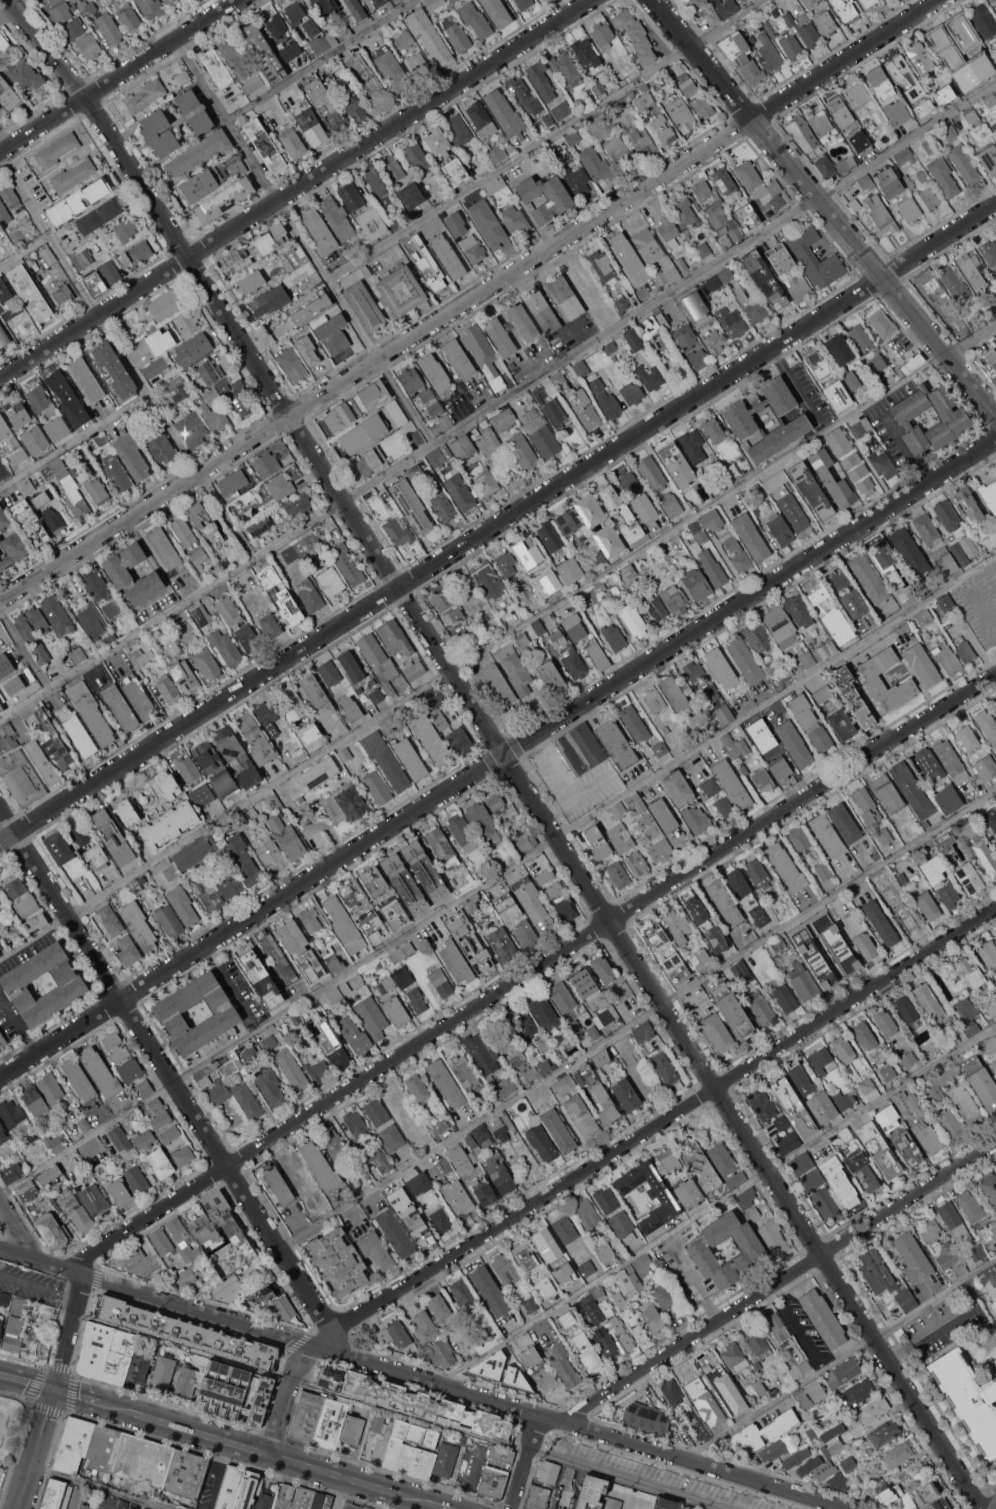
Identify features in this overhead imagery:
building: (124, 0)
building: (449, 0)
building: (819, 0)
building: (171, 1)
building: (452, 1)
building: (713, 1)
building: (54, 2)
building: (347, 2)
building: (808, 2)
building: (994, 2)
building: (524, 3)
building: (869, 3)
building: (374, 4)
building: (432, 4)
building: (697, 4)
building: (390, 5)
building: (88, 7)
building: (151, 7)
building: (323, 7)
building: (728, 8)
road: (14, 9)
building: (847, 10)
building: (295, 12)
building: (497, 12)
building: (60, 13)
building: (362, 15)
building: (128, 17)
building: (713, 18)
building: (789, 18)
building: (476, 20)
building: (984, 21)
building: (826, 23)
building: (277, 25)
building: (109, 27)
building: (73, 28)
building: (386, 30)
building: (771, 30)
building: (963, 31)
building: (809, 34)
building: (339, 35)
building: (428, 35)
building: (603, 35)
building: (636, 35)
building: (315, 37)
building: (458, 38)
building: (750, 39)
building: (403, 41)
building: (3, 43)
building: (89, 45)
building: (941, 45)
building: (791, 46)
building: (619, 50)
building: (290, 51)
building: (263, 52)
building: (770, 53)
building: (966, 53)
building: (995, 53)
building: (587, 54)
building: (919, 57)
building: (236, 58)
road: (319, 60)
building: (419, 65)
building: (565, 66)
building: (749, 67)
building: (216, 68)
building: (393, 71)
building: (984, 71)
building: (22, 74)
road: (116, 74)
building: (364, 74)
building: (183, 77)
building: (905, 78)
building: (541, 80)
building: (881, 83)
building: (252, 84)
building: (962, 84)
building: (598, 87)
building: (689, 87)
building: (588, 90)
building: (637, 91)
building: (346, 93)
building: (995, 93)
building: (857, 95)
building: (7, 96)
building: (146, 96)
building: (944, 96)
building: (523, 97)
building: (990, 99)
building: (643, 102)
building: (578, 103)
building: (324, 104)
building: (702, 106)
building: (560, 110)
building: (919, 110)
building: (679, 112)
building: (841, 113)
building: (505, 114)
building: (899, 115)
building: (969, 115)
building: (548, 119)
building: (481, 120)
building: (819, 122)
building: (174, 123)
building: (601, 125)
building: (632, 126)
building: (617, 127)
building: (310, 129)
building: (458, 130)
building: (662, 130)
building: (950, 132)
building: (995, 132)
building: (803, 134)
building: (572, 137)
road: (546, 140)
building: (437, 141)
building: (859, 142)
building: (292, 143)
building: (263, 144)
building: (930, 145)
building: (550, 147)
building: (616, 149)
building: (57, 150)
building: (198, 153)
building: (497, 154)
building: (416, 156)
building: (904, 157)
building: (989, 159)
building: (597, 164)
building: (845, 164)
building: (964, 164)
building: (826, 166)
building: (237, 167)
building: (393, 167)
building: (454, 171)
building: (72, 175)
building: (922, 176)
building: (943, 176)
building: (724, 180)
building: (376, 181)
building: (576, 181)
building: (199, 182)
building: (866, 182)
building: (888, 182)
building: (908, 182)
building: (493, 184)
building: (760, 185)
building: (701, 190)
road: (298, 191)
building: (351, 196)
building: (412, 196)
building: (786, 197)
building: (11, 198)
building: (929, 198)
building: (225, 199)
building: (560, 200)
building: (855, 204)
road: (824, 207)
building: (67, 208)
building: (684, 210)
building: (909, 210)
building: (4, 213)
building: (717, 215)
building: (99, 216)
building: (881, 217)
building: (337, 218)
building: (748, 218)
building: (515, 219)
building: (395, 220)
building: (372, 223)
building: (455, 223)
building: (488, 224)
building: (431, 227)
building: (126, 229)
building: (734, 230)
building: (320, 231)
building: (668, 231)
road: (303, 240)
building: (725, 241)
building: (361, 242)
building: (713, 245)
building: (648, 246)
building: (410, 248)
building: (473, 248)
building: (12, 249)
building: (251, 249)
road: (25, 250)
building: (703, 250)
building: (989, 252)
building: (135, 254)
building: (50, 256)
building: (448, 256)
building: (297, 257)
building: (780, 258)
building: (815, 258)
building: (82, 259)
building: (629, 259)
building: (682, 264)
building: (604, 267)
building: (972, 268)
building: (366, 271)
building: (110, 272)
building: (669, 274)
building: (430, 275)
building: (726, 275)
building: (660, 278)
building: (251, 280)
building: (96, 283)
building: (716, 283)
building: (798, 286)
building: (956, 286)
building: (29, 291)
building: (280, 291)
building: (934, 293)
building: (64, 294)
building: (650, 294)
building: (385, 297)
building: (566, 297)
building: (3, 299)
road: (468, 300)
building: (778, 300)
building: (622, 304)
building: (246, 305)
building: (749, 305)
building: (165, 306)
building: (695, 307)
building: (311, 309)
building: (991, 309)
building: (542, 312)
building: (976, 318)
building: (663, 320)
building: (732, 321)
building: (523, 322)
building: (957, 322)
building: (650, 323)
building: (883, 323)
building: (187, 324)
building: (333, 334)
building: (4, 336)
building: (500, 337)
building: (685, 337)
building: (860, 337)
road: (971, 338)
building: (634, 339)
building: (160, 341)
building: (651, 342)
building: (715, 342)
building: (610, 347)
building: (884, 349)
building: (193, 350)
building: (307, 350)
building: (839, 350)
building: (483, 355)
road: (124, 358)
building: (458, 358)
building: (699, 359)
building: (819, 360)
building: (879, 363)
building: (912, 363)
building: (989, 363)
building: (293, 365)
building: (511, 365)
building: (155, 367)
building: (581, 369)
building: (112, 371)
building: (210, 372)
building: (435, 373)
building: (900, 373)
building: (648, 375)
building: (891, 378)
building: (559, 379)
building: (86, 380)
building: (411, 380)
building: (852, 380)
road: (794, 384)
building: (223, 385)
building: (870, 388)
building: (180, 389)
building: (632, 393)
building: (830, 393)
building: (426, 394)
building: (240, 398)
building: (605, 399)
building: (67, 400)
building: (41, 401)
road: (498, 401)
building: (550, 403)
building: (190, 405)
building: (175, 406)
building: (357, 406)
building: (435, 408)
building: (759, 408)
building: (145, 409)
building: (214, 410)
building: (587, 410)
building: (395, 412)
building: (17, 413)
building: (136, 418)
building: (385, 418)
building: (504, 419)
building: (956, 420)
building: (484, 423)
building: (441, 424)
building: (56, 428)
building: (861, 428)
building: (192, 429)
building: (714, 430)
building: (364, 434)
building: (416, 438)
building: (777, 438)
building: (35, 439)
building: (101, 440)
building: (546, 441)
building: (839, 441)
building: (10, 442)
road: (74, 442)
building: (158, 444)
building: (490, 444)
building: (693, 445)
building: (463, 447)
building: (523, 451)
building: (446, 452)
road: (904, 452)
building: (132, 455)
building: (436, 458)
building: (371, 461)
building: (851, 461)
building: (266, 464)
building: (677, 464)
building: (883, 465)
building: (53, 468)
building: (3, 469)
building: (414, 471)
building: (117, 472)
building: (859, 472)
building: (652, 473)
building: (483, 478)
building: (775, 481)
building: (233, 482)
building: (629, 482)
building: (28, 486)
building: (281, 486)
building: (866, 486)
building: (97, 490)
building: (810, 491)
building: (460, 492)
building: (842, 492)
building: (73, 494)
building: (989, 495)
building: (612, 496)
building: (41, 499)
building: (299, 504)
building: (441, 504)
building: (671, 505)
building: (969, 505)
building: (411, 506)
building: (644, 507)
building: (591, 510)
building: (755, 510)
building: (23, 513)
building: (793, 513)
building: (199, 514)
building: (947, 514)
building: (4, 518)
building: (54, 520)
road: (497, 520)
building: (712, 520)
building: (568, 521)
building: (260, 526)
building: (780, 529)
building: (927, 529)
building: (399, 531)
building: (184, 532)
building: (38, 535)
building: (550, 535)
building: (339, 536)
building: (751, 537)
building: (607, 540)
building: (305, 544)
building: (968, 545)
building: (12, 547)
building: (165, 548)
building: (956, 549)
building: (526, 551)
building: (231, 553)
building: (290, 554)
building: (706, 555)
building: (738, 555)
building: (198, 556)
building: (598, 556)
building: (883, 556)
building: (913, 558)
building: (944, 561)
building: (347, 564)
building: (506, 564)
building: (569, 570)
building: (120, 574)
building: (266, 574)
building: (839, 578)
building: (869, 579)
building: (488, 580)
building: (331, 582)
building: (697, 584)
building: (97, 586)
building: (600, 587)
building: (525, 588)
road: (971, 591)
building: (905, 593)
building: (311, 596)
building: (820, 598)
building: (443, 599)
building: (674, 599)
building: (854, 603)
building: (946, 603)
building: (289, 608)
building: (656, 609)
building: (799, 610)
building: (229, 611)
building: (56, 613)
building: (456, 614)
building: (202, 615)
building: (90, 617)
building: (924, 617)
building: (633, 619)
building: (38, 620)
building: (866, 623)
building: (119, 624)
building: (271, 625)
building: (780, 626)
building: (538, 627)
building: (575, 627)
building: (24, 628)
building: (845, 633)
building: (757, 636)
building: (247, 637)
building: (395, 637)
building: (614, 637)
building: (110, 638)
building: (558, 638)
building: (525, 642)
building: (172, 646)
building: (226, 647)
road: (24, 649)
building: (824, 650)
building: (40, 652)
building: (966, 652)
building: (78, 655)
building: (598, 655)
building: (142, 656)
road: (473, 656)
building: (745, 659)
building: (947, 659)
building: (378, 660)
building: (574, 662)
building: (803, 662)
building: (207, 663)
building: (5, 665)
building: (352, 666)
building: (722, 668)
building: (514, 669)
building: (414, 670)
building: (695, 672)
building: (330, 674)
building: (786, 674)
building: (929, 675)
building: (184, 676)
building: (551, 676)
building: (20, 681)
building: (372, 682)
building: (498, 685)
building: (168, 689)
building: (711, 692)
building: (674, 693)
building: (823, 694)
building: (317, 695)
building: (138, 696)
building: (377, 696)
building: (852, 696)
building: (1, 697)
building: (0, 699)
building: (654, 700)
building: (433, 701)
building: (995, 702)
building: (292, 704)
building: (2, 705)
building: (120, 707)
building: (350, 711)
building: (91, 713)
building: (268, 713)
building: (724, 714)
building: (439, 719)
building: (758, 722)
building: (635, 723)
building: (810, 723)
road: (879, 723)
building: (842, 724)
building: (987, 725)
building: (698, 727)
building: (666, 729)
building: (310, 735)
building: (80, 736)
building: (7, 738)
building: (256, 738)
building: (967, 738)
building: (51, 739)
building: (431, 739)
building: (459, 741)
building: (794, 744)
building: (616, 745)
building: (736, 747)
building: (660, 748)
building: (581, 749)
road: (500, 750)
building: (775, 750)
building: (0, 754)
building: (345, 754)
building: (299, 755)
road: (497, 755)
building: (237, 756)
building: (410, 759)
building: (386, 760)
building: (950, 760)
building: (42, 762)
building: (928, 763)
building: (985, 767)
building: (188, 768)
building: (272, 768)
building: (780, 768)
building: (215, 769)
building: (743, 769)
building: (319, 772)
building: (21, 778)
building: (763, 781)
building: (168, 784)
building: (731, 784)
building: (377, 787)
building: (678, 787)
building: (709, 787)
building: (912, 790)
building: (297, 793)
building: (888, 793)
building: (198, 795)
building: (948, 799)
building: (273, 802)
building: (352, 803)
building: (496, 803)
building: (635, 804)
building: (867, 806)
building: (724, 807)
building: (621, 808)
building: (126, 811)
building: (615, 811)
building: (991, 818)
building: (696, 819)
building: (242, 822)
building: (483, 822)
building: (667, 822)
building: (168, 823)
building: (845, 823)
building: (925, 825)
building: (966, 831)
building: (463, 832)
building: (79, 833)
building: (827, 835)
building: (884, 835)
building: (112, 837)
building: (652, 837)
building: (288, 838)
building: (620, 838)
building: (799, 839)
building: (524, 841)
building: (597, 842)
building: (205, 845)
building: (943, 846)
building: (59, 847)
building: (443, 848)
building: (271, 855)
building: (877, 855)
building: (97, 857)
building: (186, 857)
building: (986, 858)
building: (242, 860)
building: (636, 864)
building: (786, 868)
building: (933, 869)
building: (425, 870)
building: (824, 870)
building: (170, 872)
building: (757, 873)
building: (618, 874)
road: (499, 876)
building: (545, 876)
building: (903, 878)
building: (969, 878)
building: (374, 881)
building: (405, 883)
building: (738, 883)
building: (135, 885)
building: (232, 885)
building: (15, 889)
building: (554, 890)
building: (891, 890)
building: (208, 893)
building: (353, 894)
building: (948, 895)
building: (1, 901)
building: (471, 902)
road: (58, 903)
building: (725, 903)
building: (533, 904)
building: (183, 905)
building: (26, 906)
building: (928, 906)
building: (507, 907)
building: (565, 909)
building: (696, 909)
building: (394, 913)
building: (759, 915)
building: (907, 916)
building: (110, 919)
building: (310, 919)
building: (169, 920)
building: (35, 922)
building: (880, 922)
building: (344, 925)
building: (139, 926)
building: (678, 926)
building: (374, 927)
building: (463, 932)
building: (526, 933)
building: (995, 934)
building: (656, 935)
building: (716, 939)
building: (836, 942)
building: (502, 944)
building: (778, 944)
building: (864, 945)
building: (300, 949)
building: (128, 950)
building: (402, 952)
building: (988, 954)
building: (244, 956)
building: (277, 956)
building: (814, 957)
building: (479, 959)
building: (701, 959)
building: (456, 961)
building: (334, 963)
building: (603, 969)
building: (742, 971)
building: (970, 971)
building: (685, 972)
building: (403, 977)
building: (258, 978)
building: (803, 981)
building: (388, 982)
building: (441, 982)
building: (995, 982)
building: (15, 983)
building: (586, 985)
building: (345, 987)
building: (381, 988)
building: (330, 997)
building: (562, 997)
building: (269, 998)
building: (785, 998)
building: (417, 1000)
road: (484, 1001)
building: (929, 1002)
building: (990, 1007)
building: (906, 1009)
building: (966, 1009)
building: (732, 1010)
building: (763, 1010)
building: (396, 1011)
building: (546, 1015)
road: (694, 1015)
building: (225, 1016)
building: (372, 1016)
building: (296, 1017)
road: (638, 1018)
building: (606, 1019)
building: (885, 1023)
road: (17, 1024)
building: (528, 1025)
building: (576, 1028)
building: (972, 1030)
building: (644, 1031)
building: (594, 1032)
building: (717, 1032)
building: (864, 1036)
building: (356, 1037)
building: (2, 1040)
building: (112, 1040)
building: (271, 1042)
building: (928, 1042)
building: (544, 1044)
building: (844, 1049)
building: (335, 1052)
building: (483, 1053)
building: (119, 1054)
building: (251, 1054)
building: (600, 1058)
building: (908, 1059)
building: (822, 1060)
building: (521, 1064)
building: (545, 1066)
building: (233, 1067)
building: (993, 1067)
building: (665, 1068)
building: (292, 1069)
building: (462, 1069)
building: (130, 1070)
building: (319, 1071)
building: (100, 1072)
building: (888, 1072)
building: (945, 1073)
building: (204, 1075)
building: (79, 1079)
building: (801, 1080)
building: (980, 1082)
building: (446, 1084)
building: (564, 1084)
building: (50, 1087)
building: (417, 1087)
building: (504, 1087)
building: (145, 1088)
building: (271, 1088)
building: (869, 1089)
building: (218, 1093)
building: (934, 1093)
building: (626, 1094)
building: (598, 1096)
building: (489, 1099)
building: (843, 1099)
building: (248, 1100)
building: (34, 1101)
building: (233, 1101)
building: (907, 1102)
building: (762, 1105)
building: (966, 1106)
building: (822, 1107)
building: (794, 1108)
building: (377, 1112)
building: (11, 1113)
building: (159, 1113)
building: (582, 1116)
road: (664, 1118)
building: (888, 1118)
building: (508, 1120)
building: (355, 1123)
building: (781, 1123)
building: (951, 1123)
building: (84, 1125)
building: (438, 1126)
building: (500, 1129)
building: (559, 1130)
building: (3, 1133)
building: (170, 1134)
building: (482, 1135)
building: (927, 1136)
building: (120, 1138)
building: (392, 1138)
building: (144, 1139)
building: (471, 1140)
building: (332, 1141)
building: (542, 1142)
building: (788, 1143)
building: (55, 1144)
building: (908, 1150)
building: (33, 1151)
building: (48, 1153)
building: (183, 1155)
building: (460, 1156)
building: (364, 1157)
building: (381, 1159)
building: (884, 1160)
building: (669, 1161)
building: (161, 1163)
road: (227, 1163)
building: (800, 1163)
building: (727, 1165)
building: (320, 1166)
building: (701, 1166)
building: (443, 1167)
building: (12, 1172)
building: (863, 1172)
building: (432, 1173)
building: (995, 1173)
building: (49, 1174)
building: (501, 1177)
building: (300, 1178)
building: (137, 1179)
building: (812, 1180)
building: (840, 1180)
building: (419, 1183)
building: (279, 1185)
building: (989, 1187)
building: (27, 1189)
building: (483, 1190)
building: (120, 1192)
building: (689, 1193)
building: (625, 1195)
building: (458, 1198)
building: (746, 1198)
building: (95, 1199)
building: (606, 1200)
road: (716, 1202)
building: (826, 1202)
building: (970, 1206)
building: (75, 1209)
building: (586, 1212)
building: (319, 1213)
building: (753, 1214)
building: (410, 1217)
building: (441, 1219)
building: (215, 1221)
building: (952, 1221)
building: (647, 1223)
building: (623, 1226)
building: (177, 1229)
building: (565, 1229)
road: (16, 1230)
building: (930, 1230)
building: (52, 1231)
building: (988, 1232)
building: (395, 1233)
building: (773, 1237)
building: (162, 1243)
building: (545, 1243)
building: (376, 1250)
building: (698, 1250)
building: (606, 1253)
building: (977, 1253)
building: (191, 1254)
building: (946, 1255)
building: (524, 1257)
building: (912, 1258)
building: (140, 1261)
building: (338, 1262)
building: (202, 1263)
building: (643, 1264)
building: (541, 1267)
building: (505, 1268)
building: (587, 1268)
building: (959, 1269)
building: (565, 1274)
building: (988, 1275)
building: (186, 1277)
road: (780, 1278)
building: (885, 1279)
building: (629, 1281)
road: (694, 1282)
building: (546, 1286)
building: (228, 1288)
building: (490, 1291)
building: (461, 1292)
building: (598, 1292)
building: (261, 1297)
building: (4, 1298)
building: (619, 1300)
building: (667, 1300)
building: (530, 1303)
building: (19, 1306)
building: (439, 1306)
building: (607, 1308)
building: (284, 1309)
building: (592, 1309)
building: (630, 1316)
building: (653, 1318)
building: (824, 1318)
building: (565, 1320)
building: (1, 1324)
building: (617, 1324)
building: (14, 1325)
building: (424, 1327)
building: (777, 1328)
building: (186, 1333)
building: (640, 1333)
building: (394, 1337)
road: (325, 1338)
building: (755, 1339)
building: (628, 1341)
building: (606, 1342)
building: (12, 1343)
building: (96, 1349)
building: (586, 1350)
building: (442, 1354)
building: (530, 1356)
building: (119, 1357)
building: (734, 1357)
road: (841, 1357)
building: (143, 1362)
building: (563, 1365)
building: (758, 1365)
building: (799, 1369)
building: (500, 1370)
building: (163, 1373)
building: (843, 1373)
building: (512, 1374)
road: (426, 1377)
building: (736, 1378)
road: (27, 1380)
building: (187, 1380)
building: (548, 1381)
building: (694, 1381)
building: (759, 1387)
building: (726, 1390)
building: (231, 1391)
building: (816, 1391)
building: (671, 1392)
road: (77, 1394)
road: (285, 1396)
building: (854, 1396)
building: (968, 1398)
building: (805, 1401)
building: (414, 1402)
building: (874, 1410)
building: (688, 1413)
building: (307, 1417)
building: (646, 1417)
building: (720, 1421)
building: (377, 1422)
building: (330, 1424)
building: (700, 1429)
building: (353, 1430)
building: (822, 1430)
building: (763, 1432)
building: (831, 1432)
building: (885, 1433)
building: (811, 1434)
building: (462, 1439)
building: (74, 1444)
building: (383, 1445)
road: (34, 1447)
building: (103, 1448)
building: (779, 1448)
building: (836, 1448)
building: (412, 1449)
road: (267, 1452)
building: (826, 1452)
building: (501, 1453)
building: (898, 1455)
building: (448, 1457)
building: (796, 1457)
building: (142, 1460)
road: (524, 1460)
building: (848, 1464)
building: (808, 1466)
building: (824, 1471)
building: (548, 1472)
building: (186, 1474)
road: (632, 1477)
building: (920, 1477)
building: (839, 1481)
building: (492, 1483)
road: (97, 1488)
building: (236, 1489)
building: (926, 1492)
road: (341, 1493)
building: (592, 1493)
building: (887, 1494)
building: (57, 1495)
building: (285, 1496)
building: (537, 1498)
building: (264, 1499)
building: (311, 1500)
building: (109, 1503)
building: (612, 1503)
building: (904, 1503)
building: (123, 1504)
building: (665, 1504)
building: (939, 1504)
road: (993, 1505)
building: (351, 1506)
road: (440, 1507)
building: (131, 1508)
building: (143, 1508)
building: (365, 1508)

